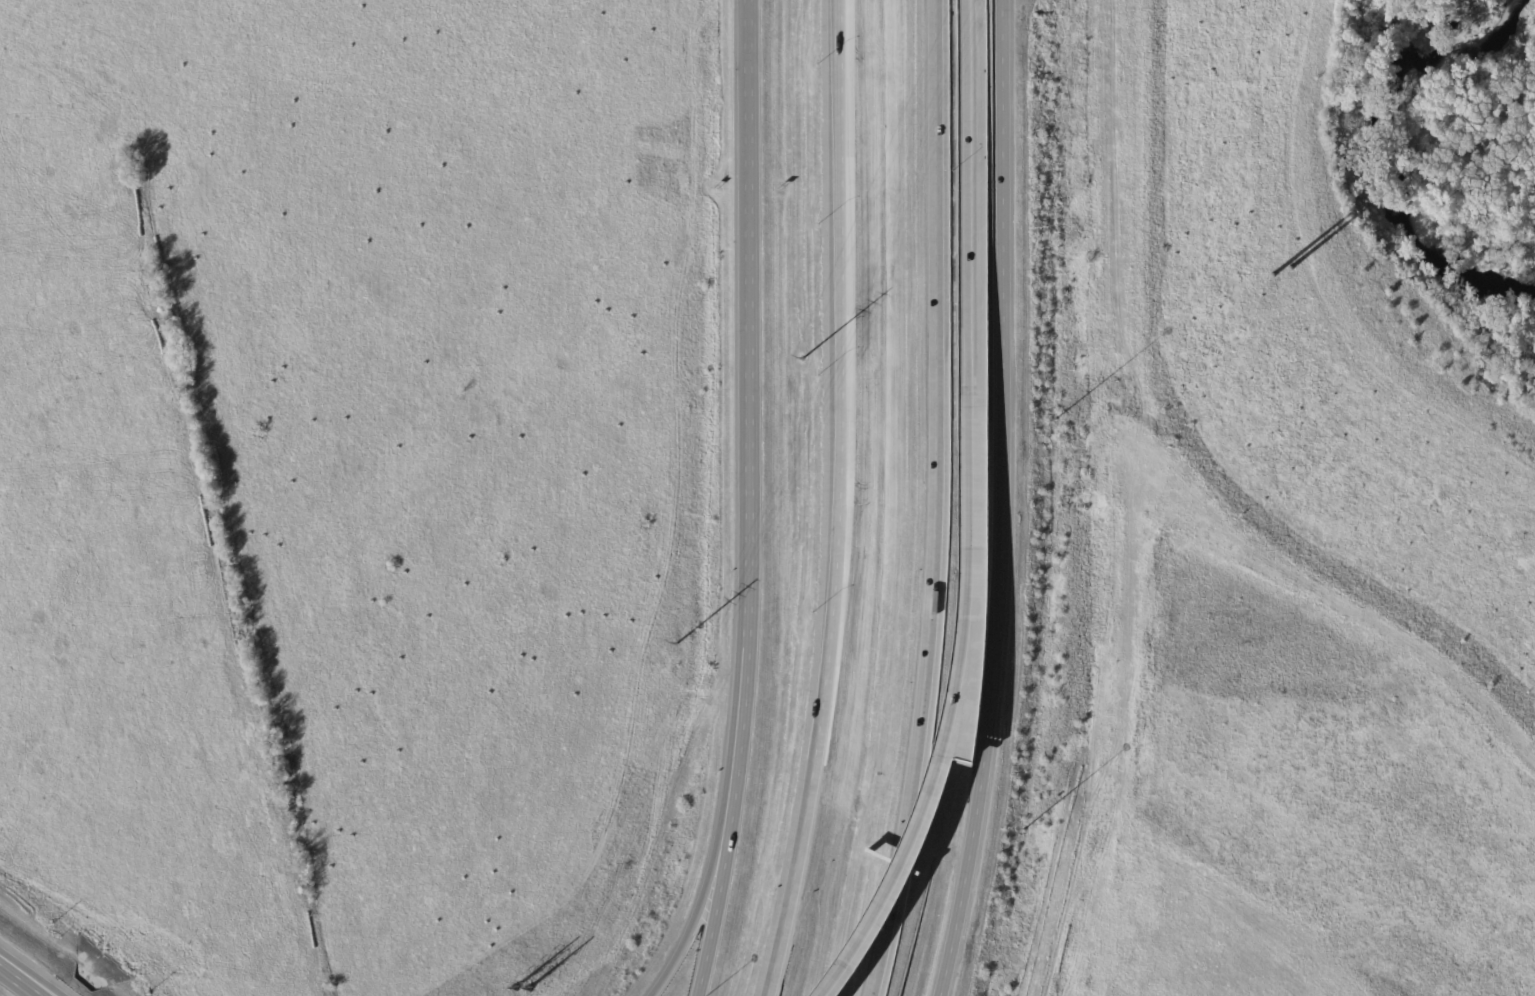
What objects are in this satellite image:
road: (966, 178)
river: (1401, 182)
road: (943, 232)
power tower: (1277, 277)
power tower: (805, 359)
road: (754, 500)
road: (839, 500)
road: (1009, 500)
power tower: (677, 643)
road: (957, 691)
road: (921, 731)
road: (693, 921)
road: (0, 973)
road: (31, 982)
road: (15, 985)
power tower: (520, 989)

